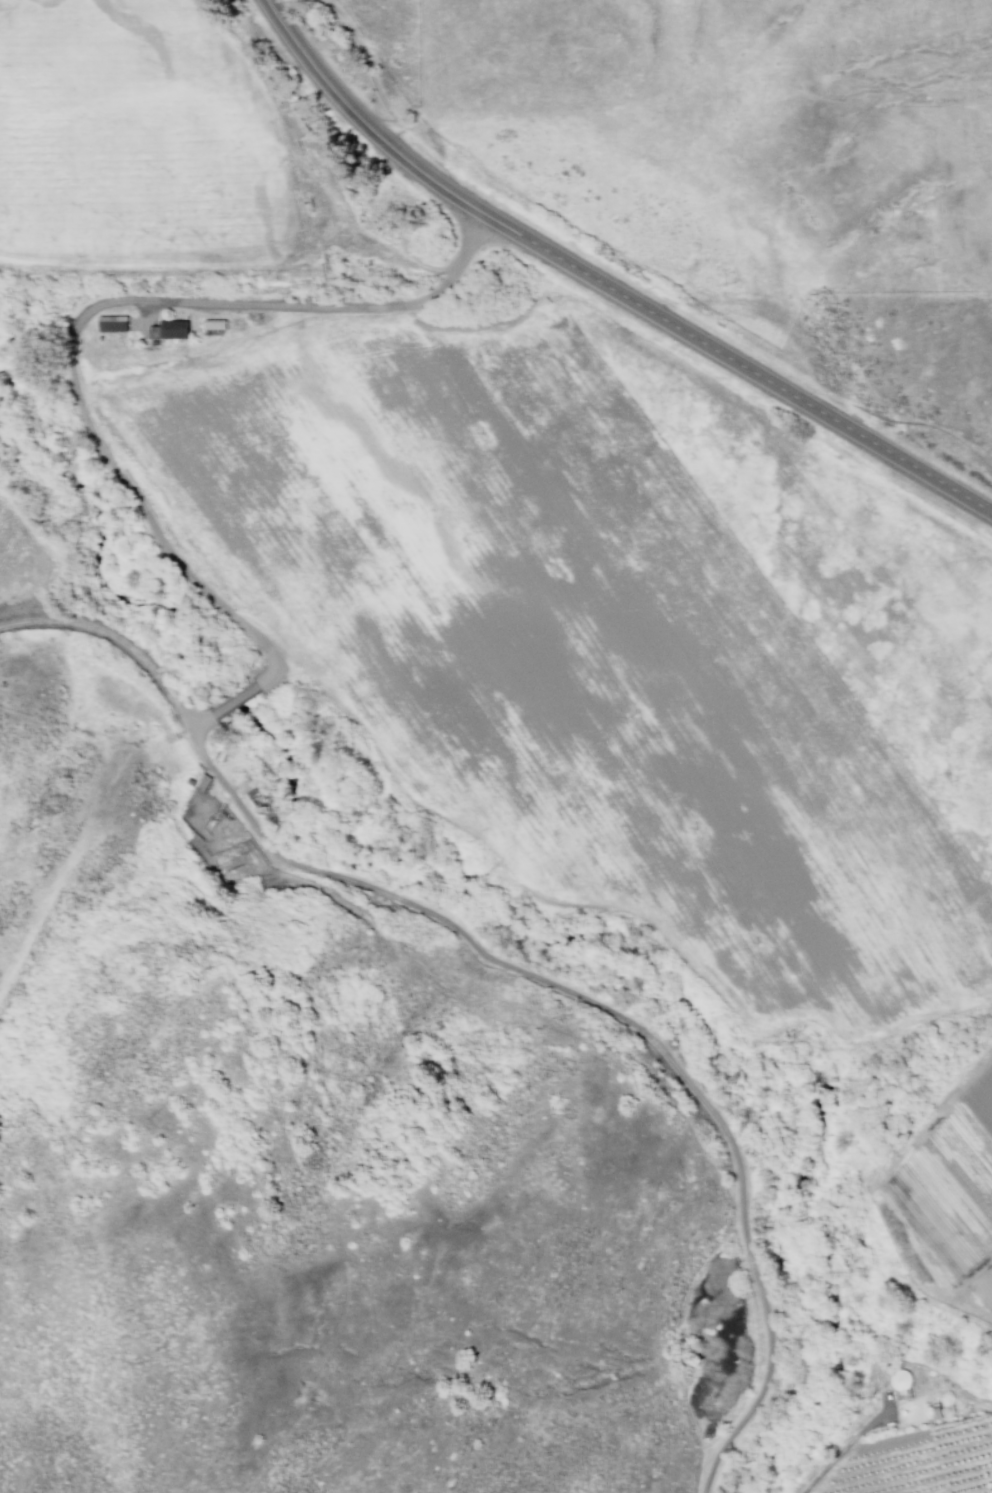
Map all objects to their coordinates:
road: (365, 123)
road: (96, 303)
building: (111, 322)
building: (213, 324)
building: (169, 329)
road: (743, 364)
crop: (500, 530)
road: (108, 803)
road: (511, 970)
crop: (913, 1443)

